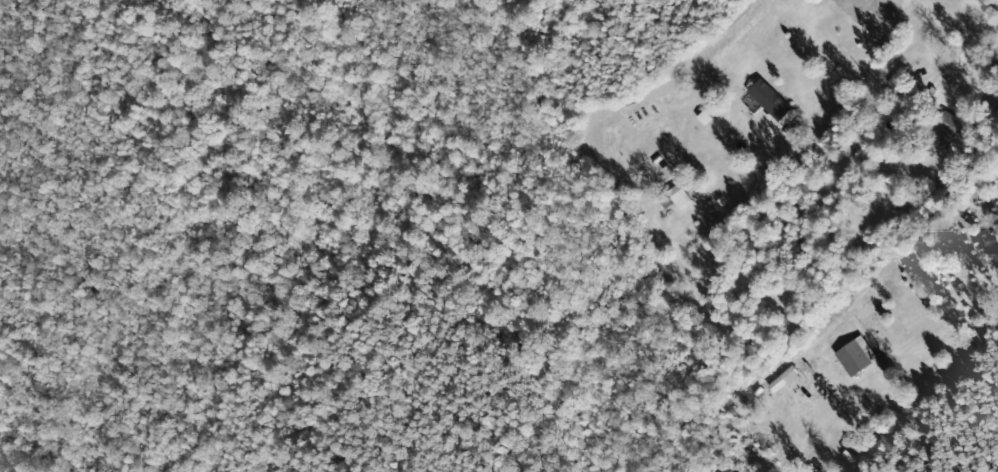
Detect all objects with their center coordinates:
building: (894, 85)
building: (767, 100)
building: (945, 130)
building: (851, 358)

